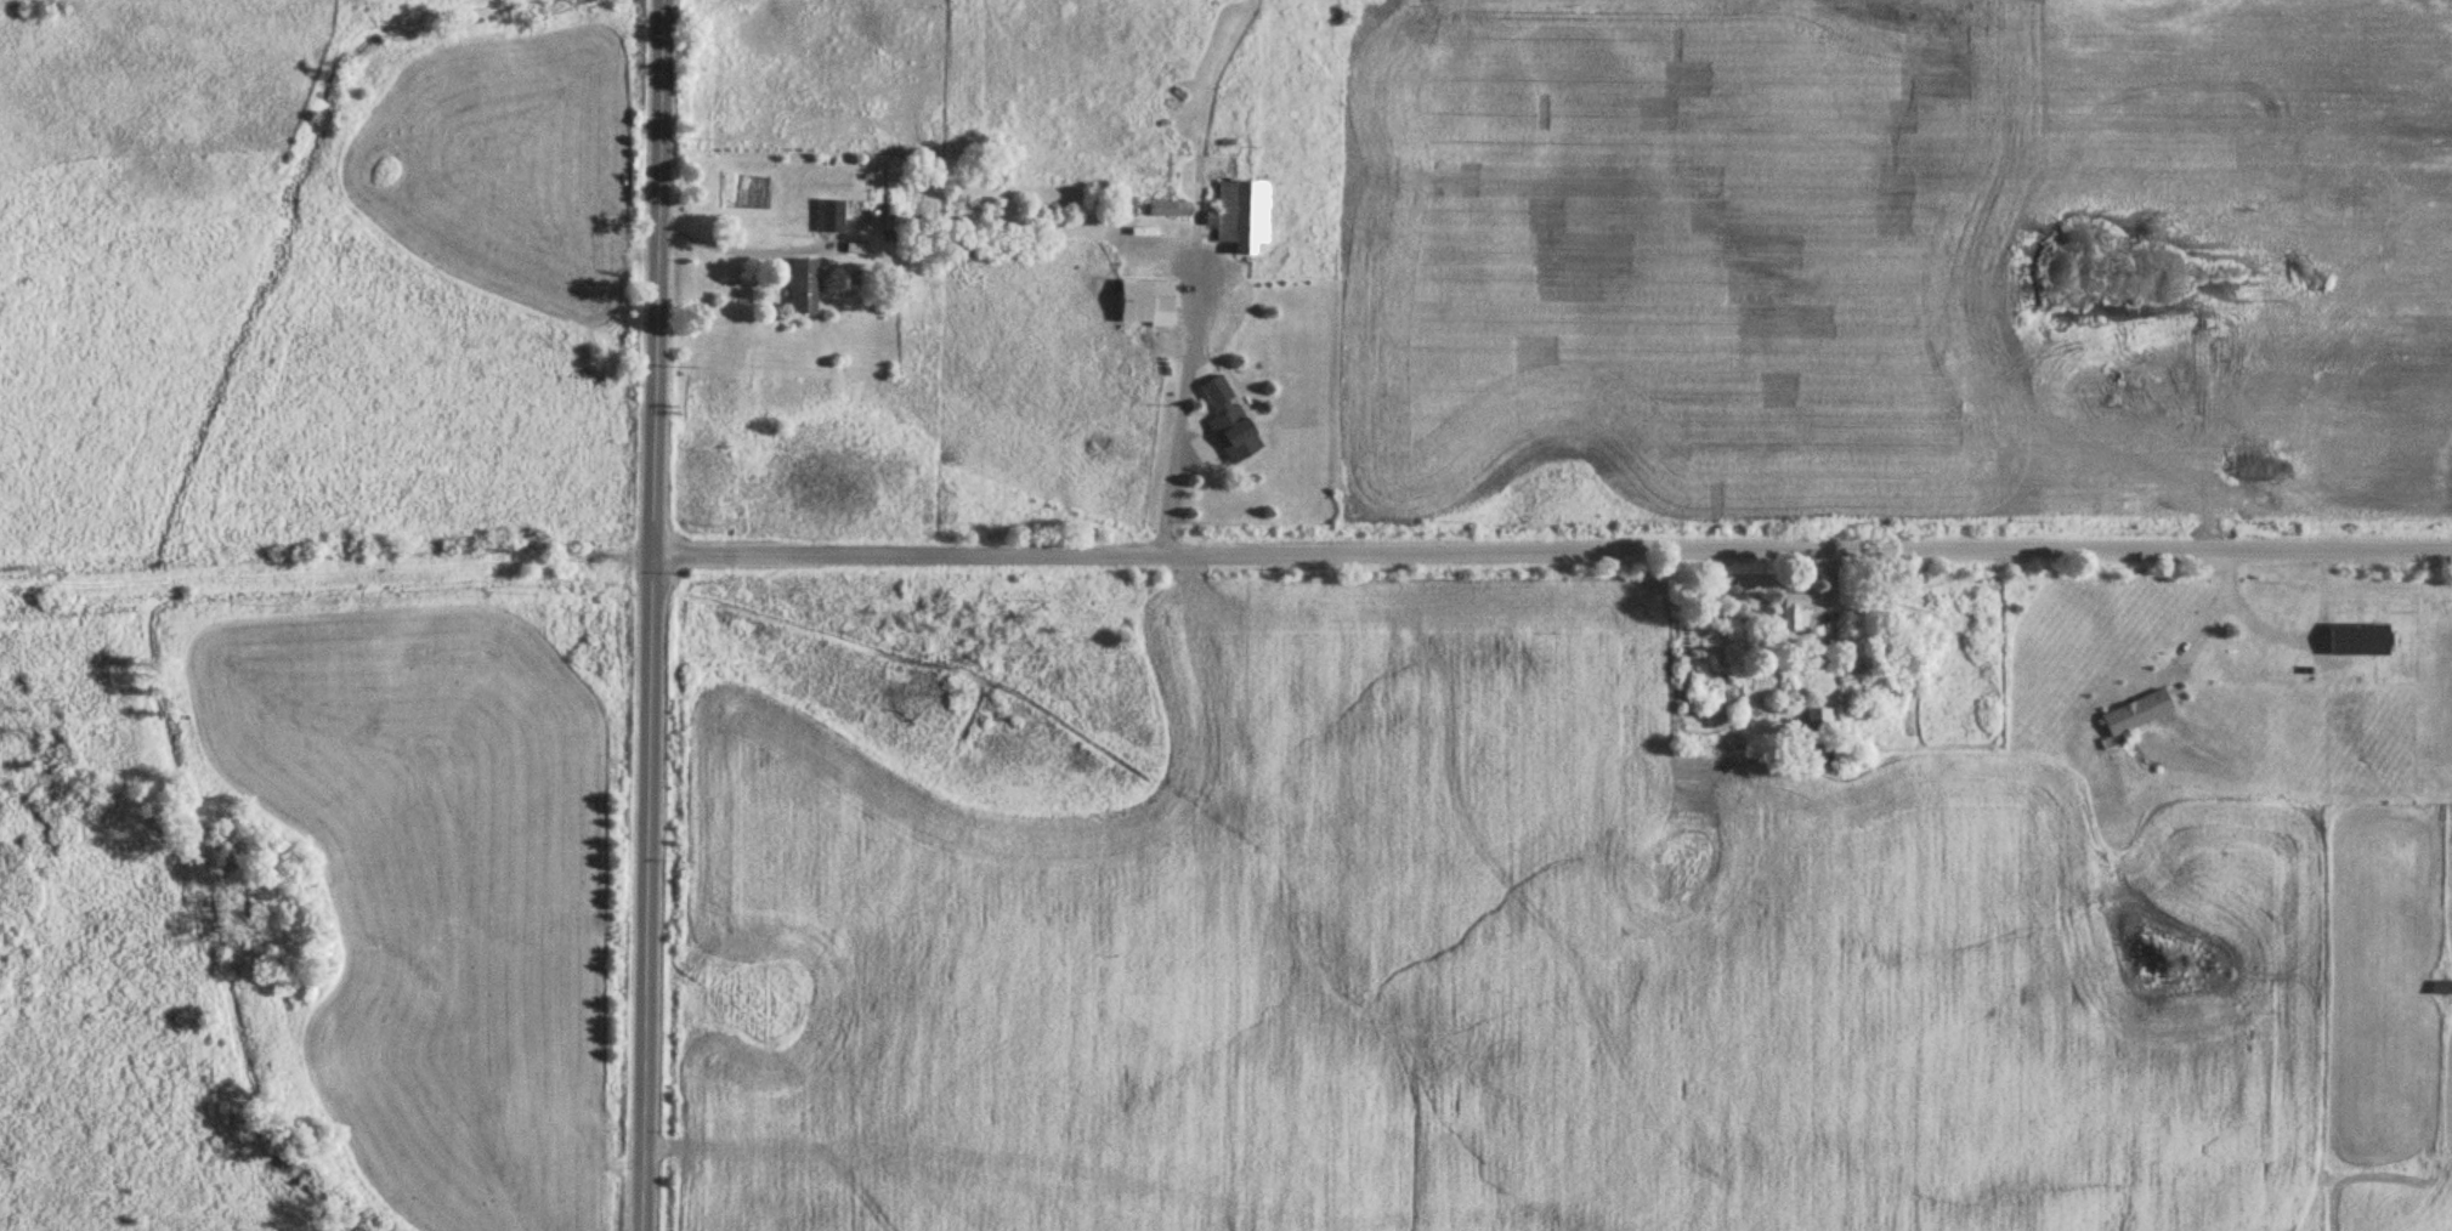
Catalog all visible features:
building: (1167, 208)
building: (1241, 215)
building: (831, 216)
building: (891, 217)
road: (748, 251)
building: (802, 287)
building: (1143, 302)
building: (1229, 421)
road: (1553, 554)
building: (1793, 613)
road: (653, 615)
building: (2356, 640)
building: (2135, 714)
building: (1817, 721)
building: (2441, 987)

